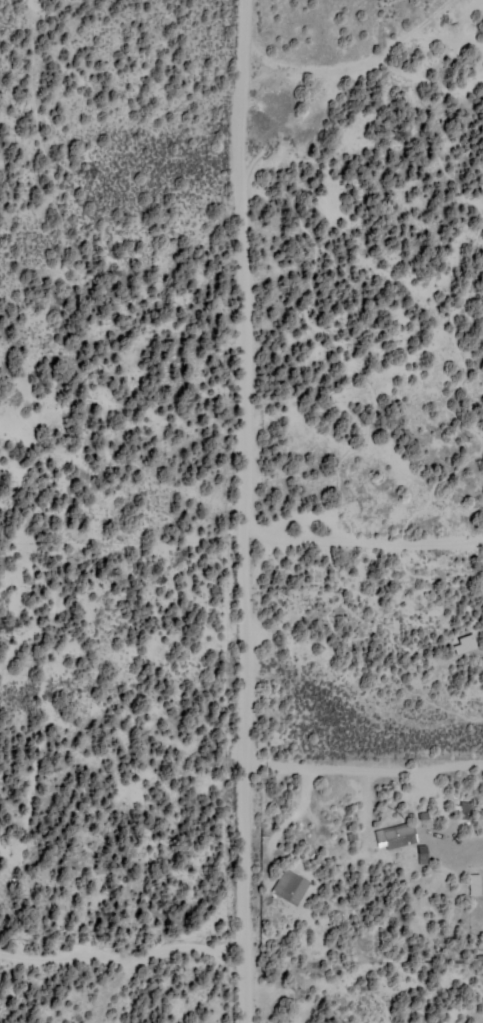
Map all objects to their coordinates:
road: (261, 511)
road: (372, 565)
building: (464, 644)
building: (395, 835)
building: (422, 853)
building: (474, 883)
building: (290, 885)

